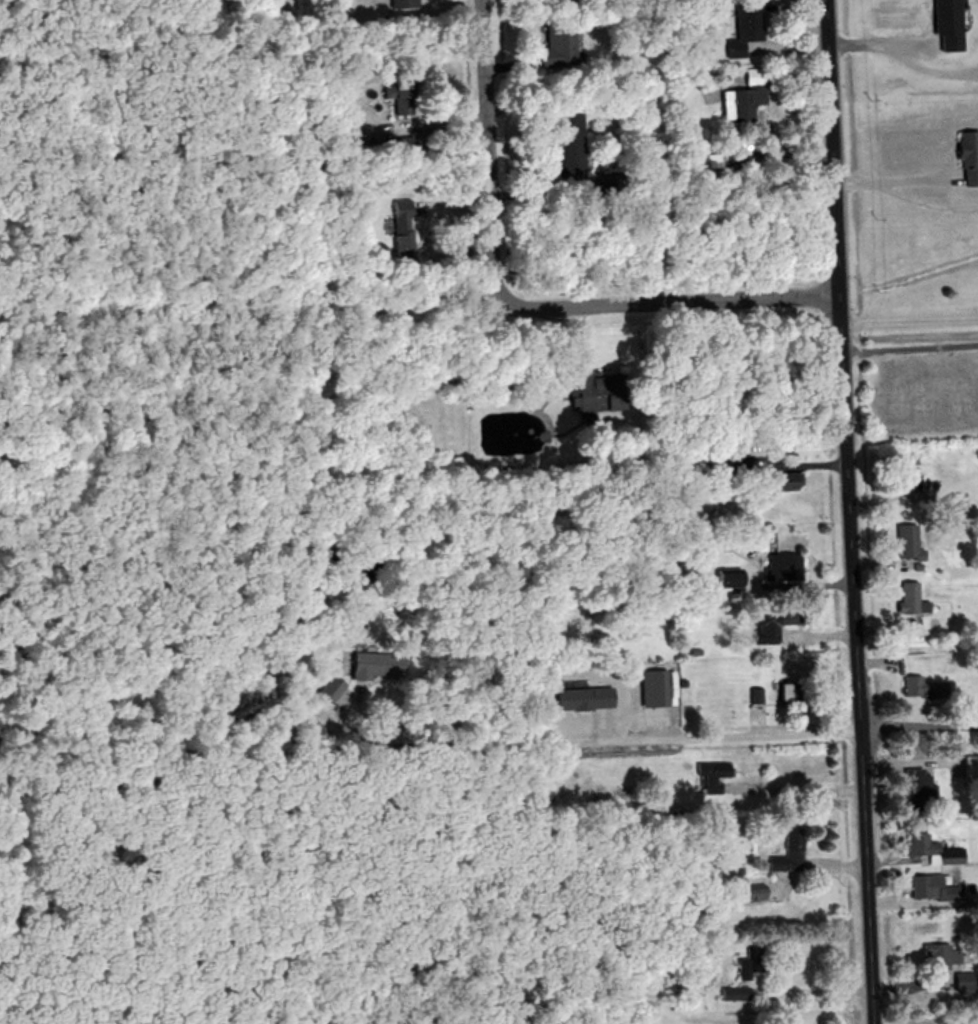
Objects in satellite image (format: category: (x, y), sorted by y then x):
building: (400, 4)
building: (741, 34)
building: (555, 46)
building: (742, 104)
building: (568, 145)
road: (485, 153)
building: (965, 160)
building: (693, 161)
road: (891, 179)
building: (399, 229)
road: (669, 303)
road: (908, 323)
road: (908, 347)
building: (590, 395)
building: (736, 465)
building: (907, 480)
building: (777, 484)
road: (844, 511)
building: (907, 544)
building: (780, 568)
building: (907, 600)
building: (767, 627)
building: (917, 685)
building: (649, 689)
building: (577, 697)
road: (915, 727)
road: (617, 739)
building: (710, 775)
building: (912, 784)
road: (792, 786)
road: (909, 825)
building: (928, 847)
building: (785, 857)
road: (898, 877)
building: (926, 887)
road: (901, 902)
building: (936, 955)
road: (809, 989)
building: (731, 994)

